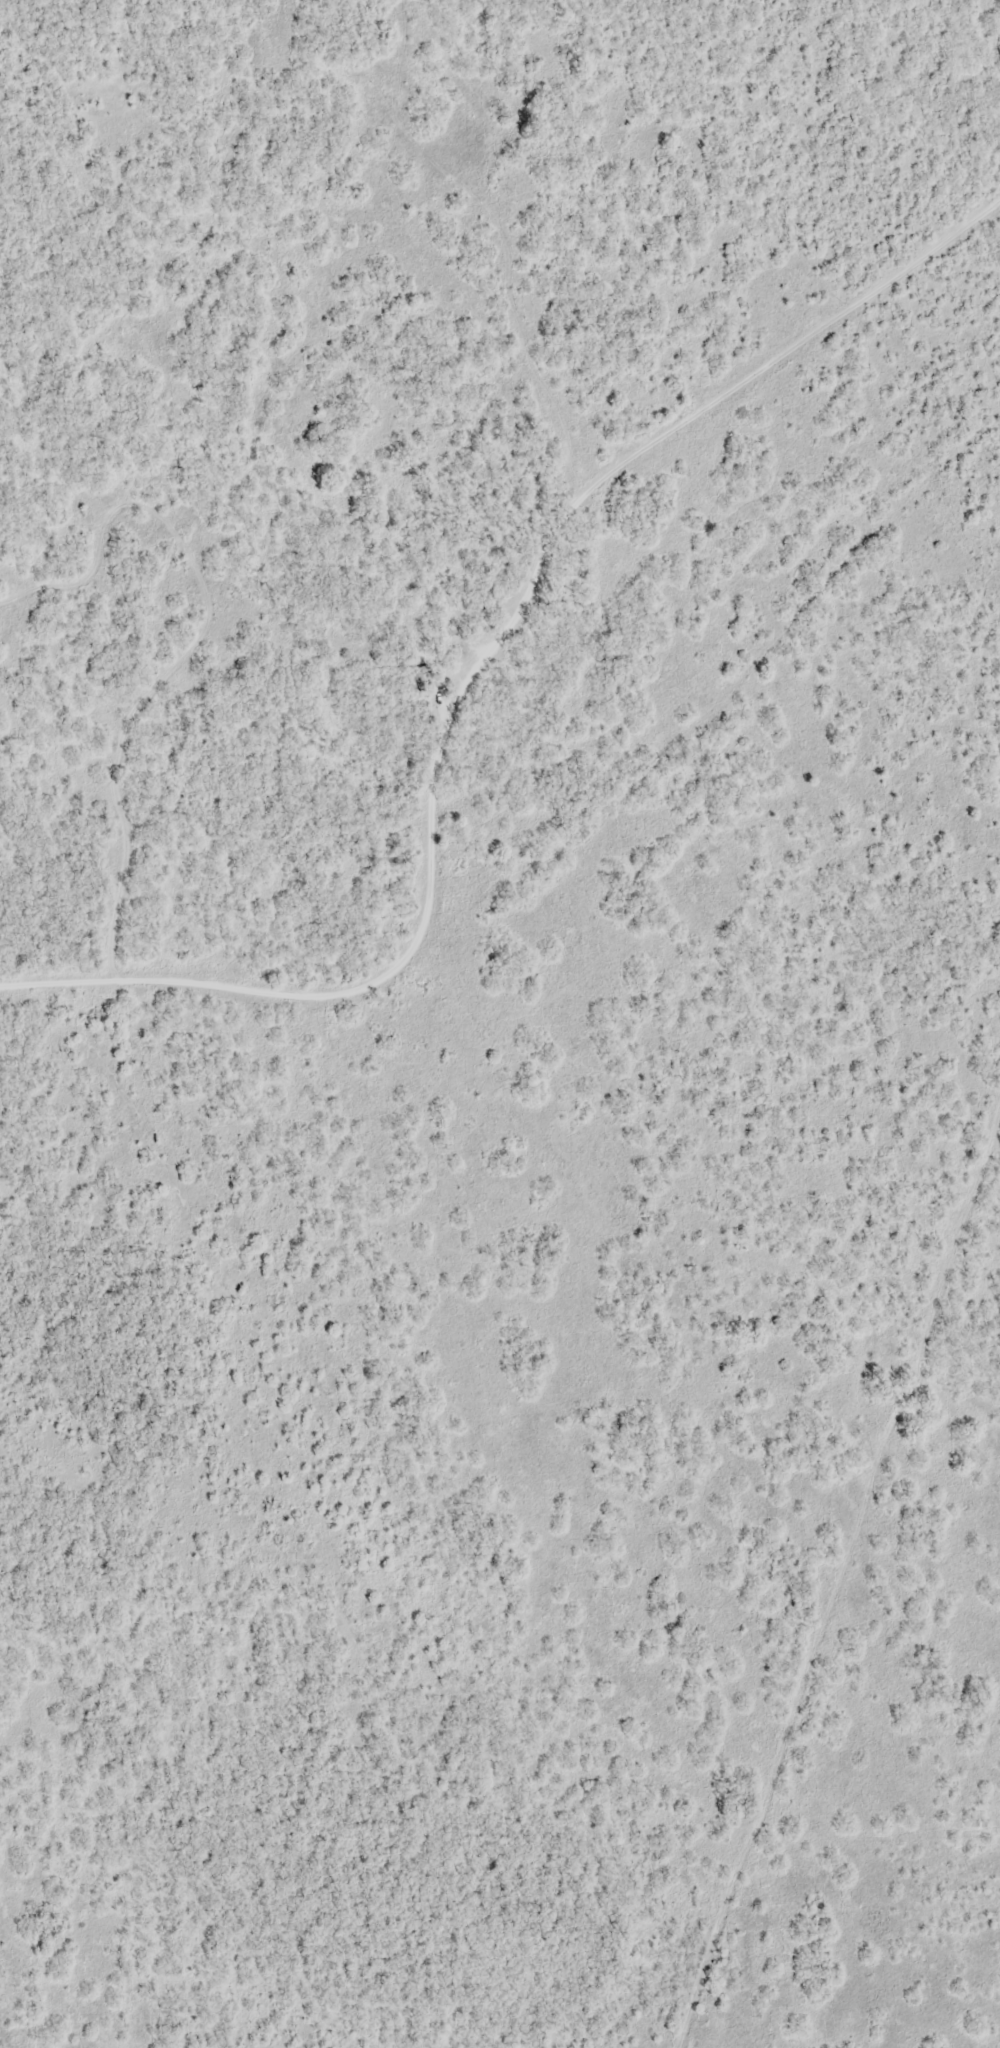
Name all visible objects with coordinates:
road: (586, 479)
road: (219, 982)

